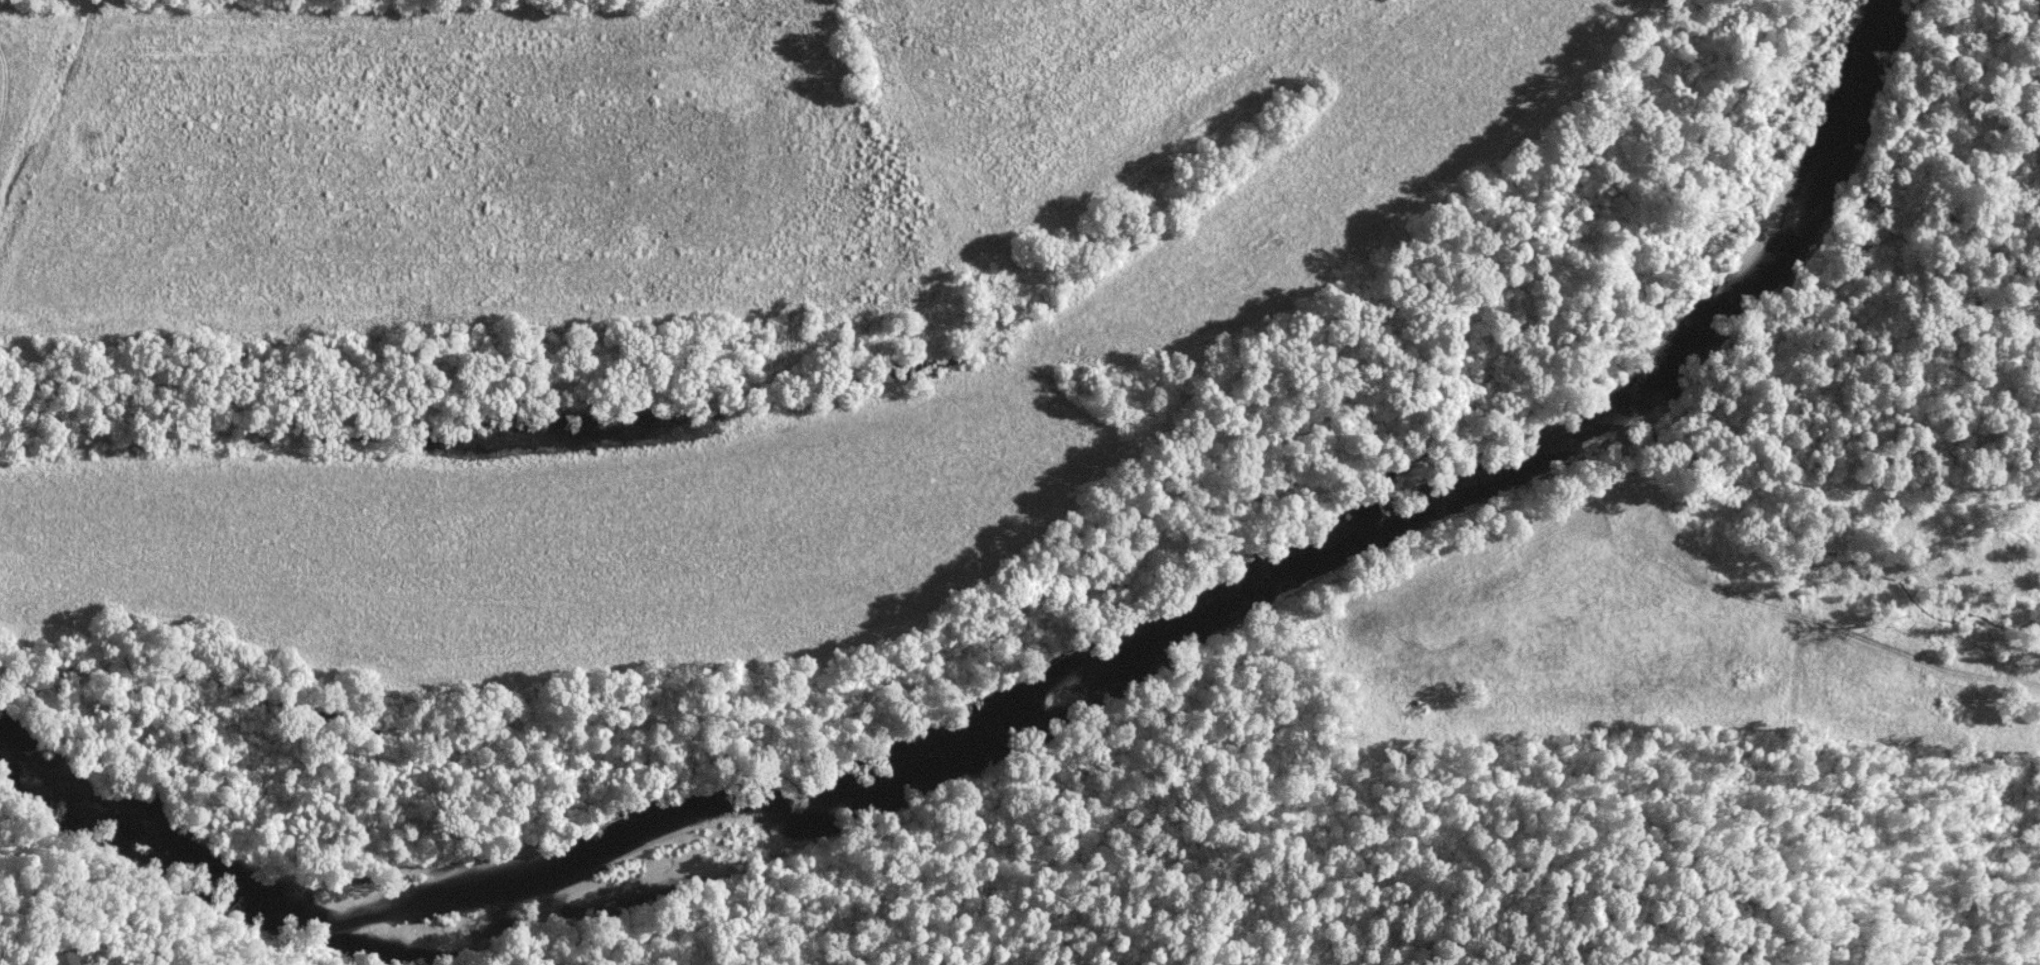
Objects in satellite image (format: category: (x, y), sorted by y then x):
river: (1056, 700)
building: (63, 958)
building: (85, 964)

